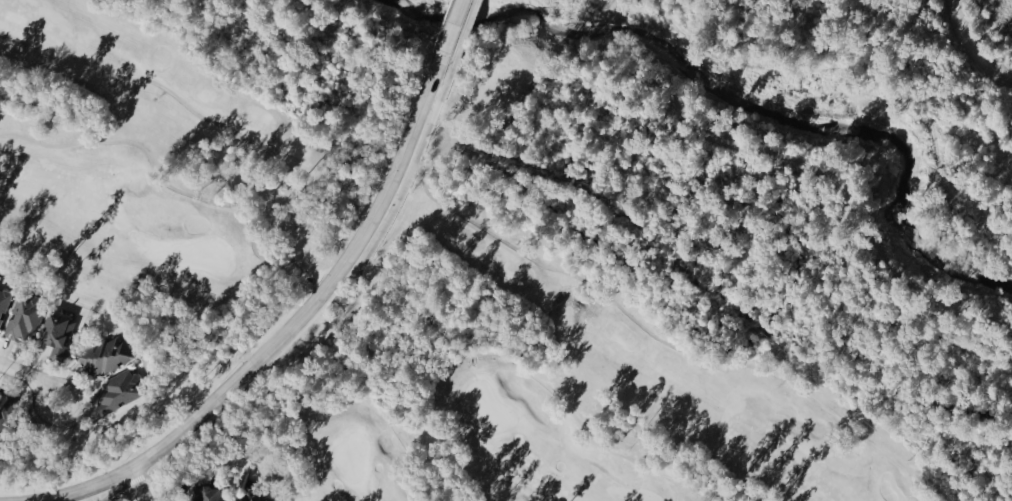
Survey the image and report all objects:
road: (452, 29)
road: (467, 32)
road: (973, 46)
road: (859, 69)
road: (167, 95)
river: (750, 103)
road: (168, 187)
park: (377, 291)
road: (337, 293)
road: (354, 303)
building: (4, 306)
building: (25, 320)
road: (293, 328)
building: (58, 337)
road: (665, 345)
building: (108, 358)
road: (515, 364)
road: (33, 377)
building: (121, 392)
road: (374, 409)
building: (5, 415)
road: (133, 481)
road: (137, 487)
building: (210, 495)
building: (251, 499)

